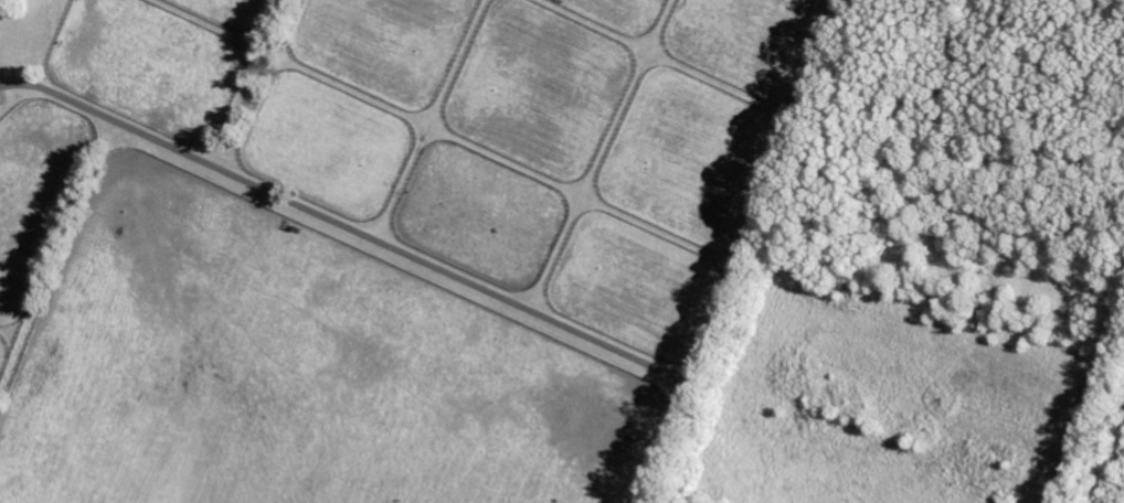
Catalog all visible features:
road: (348, 228)
road: (749, 251)

